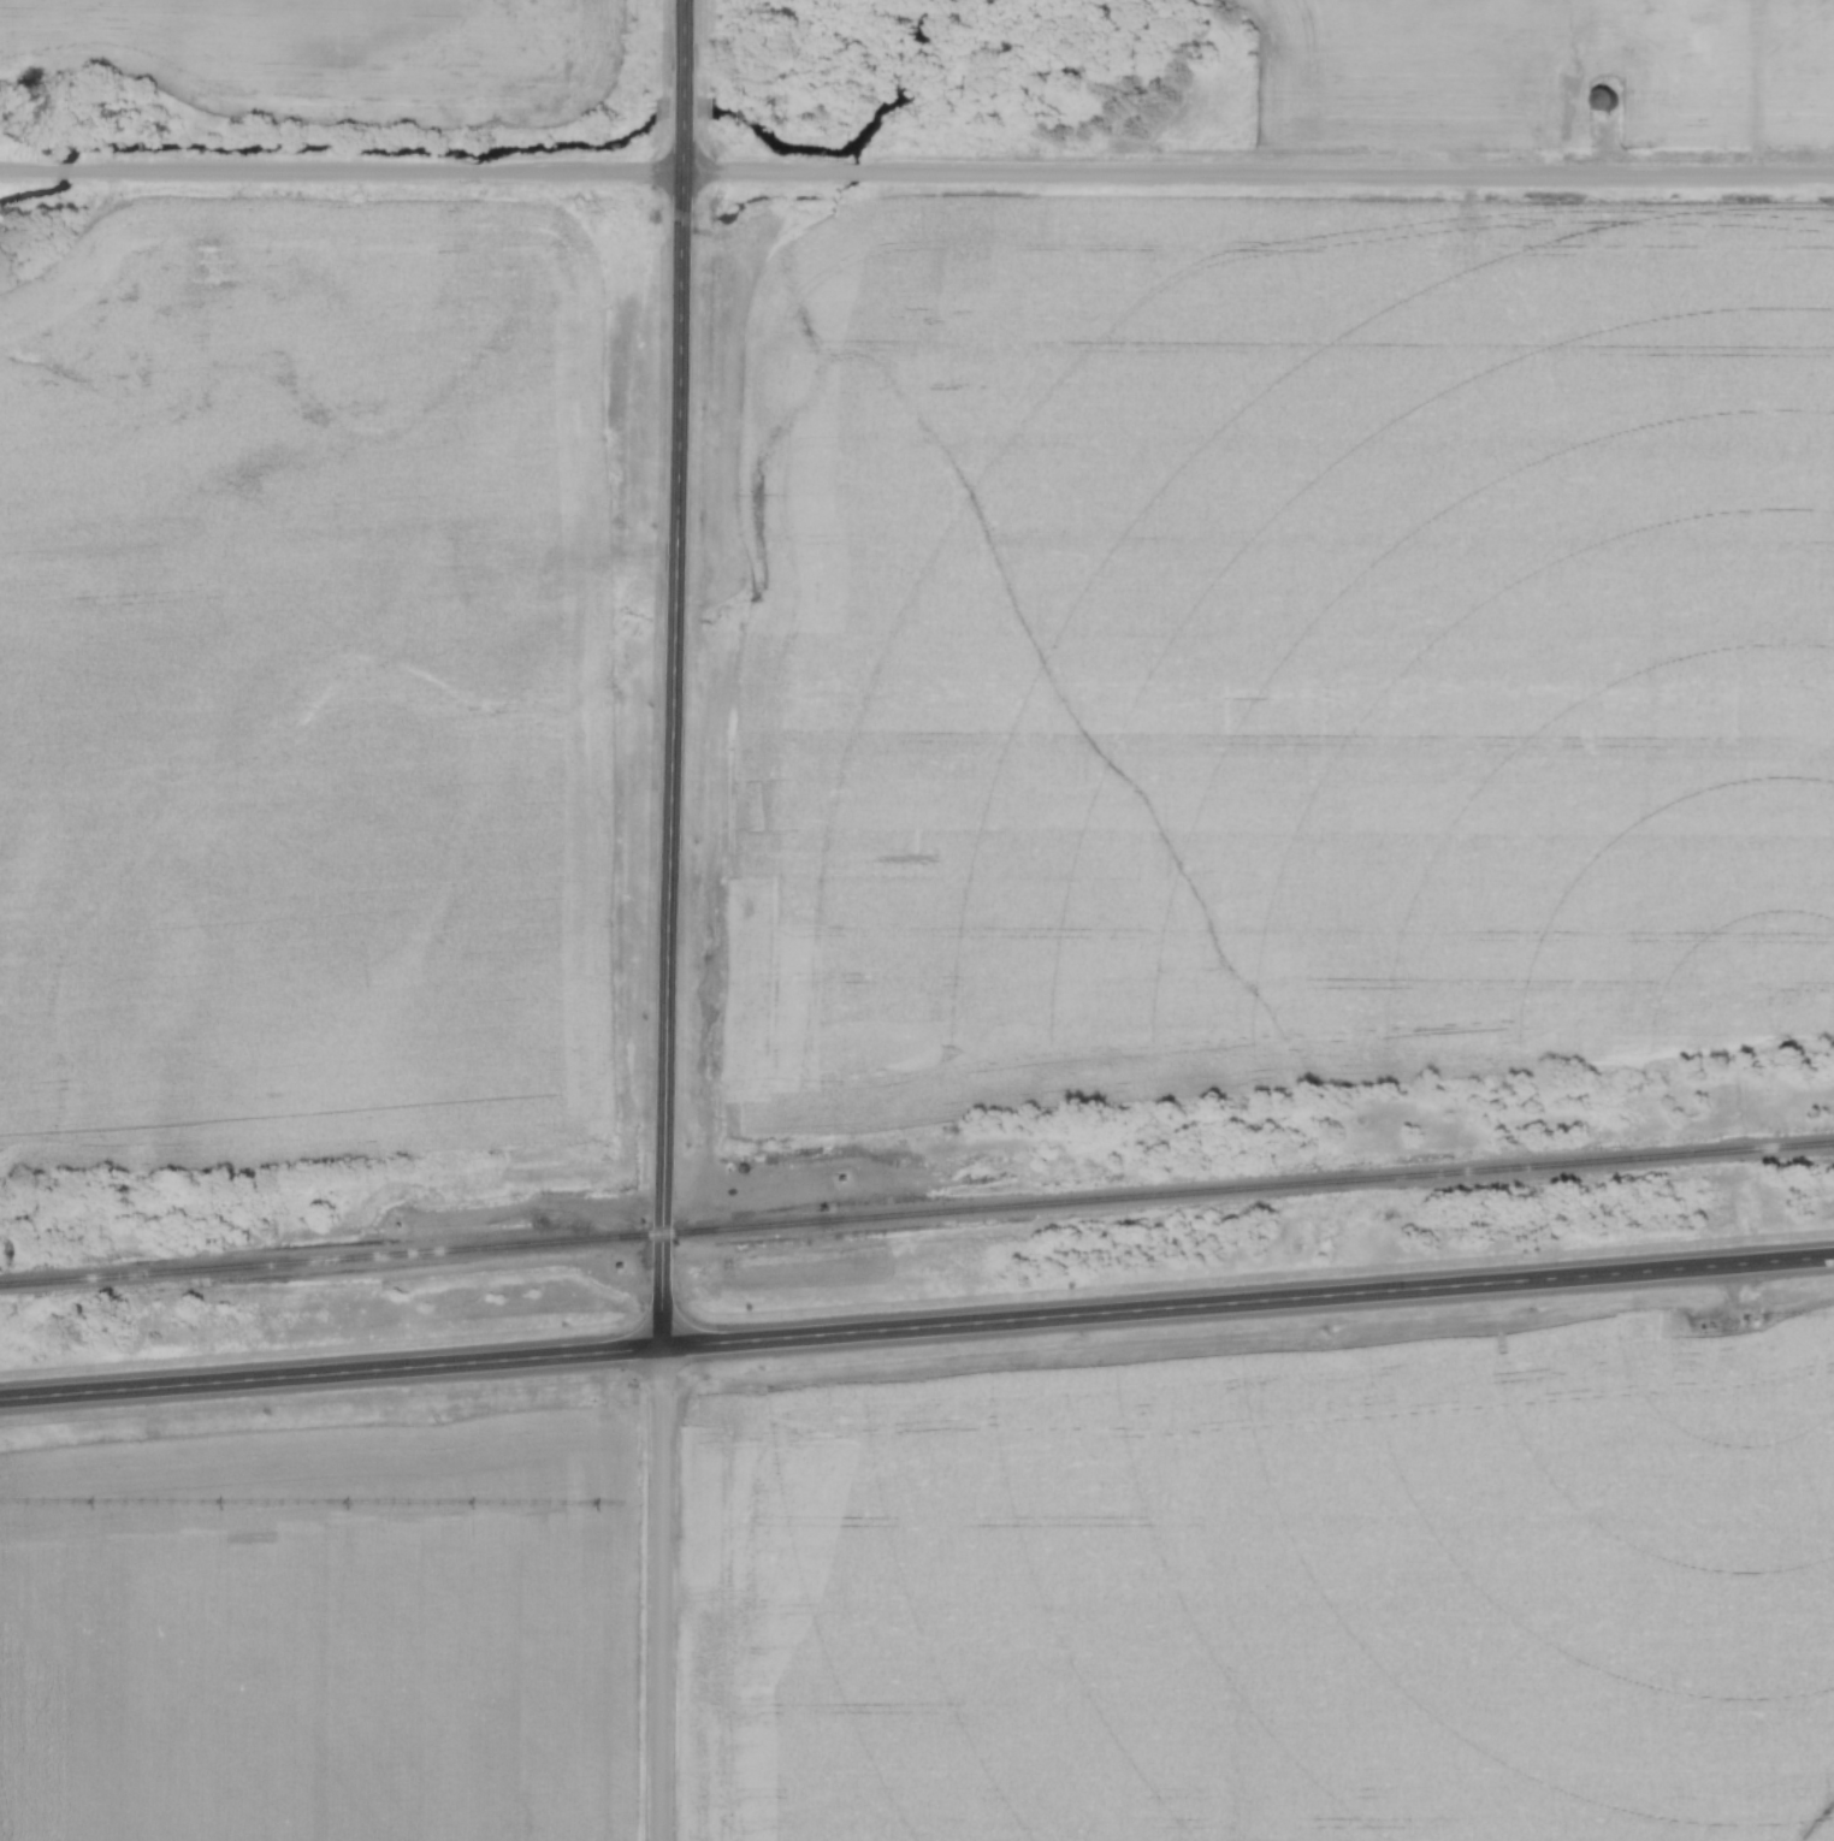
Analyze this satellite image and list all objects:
building: (1693, 47)
road: (1762, 89)
building: (1605, 96)
road: (917, 173)
road: (678, 674)
railway: (916, 1231)
road: (916, 1326)
road: (659, 1593)

